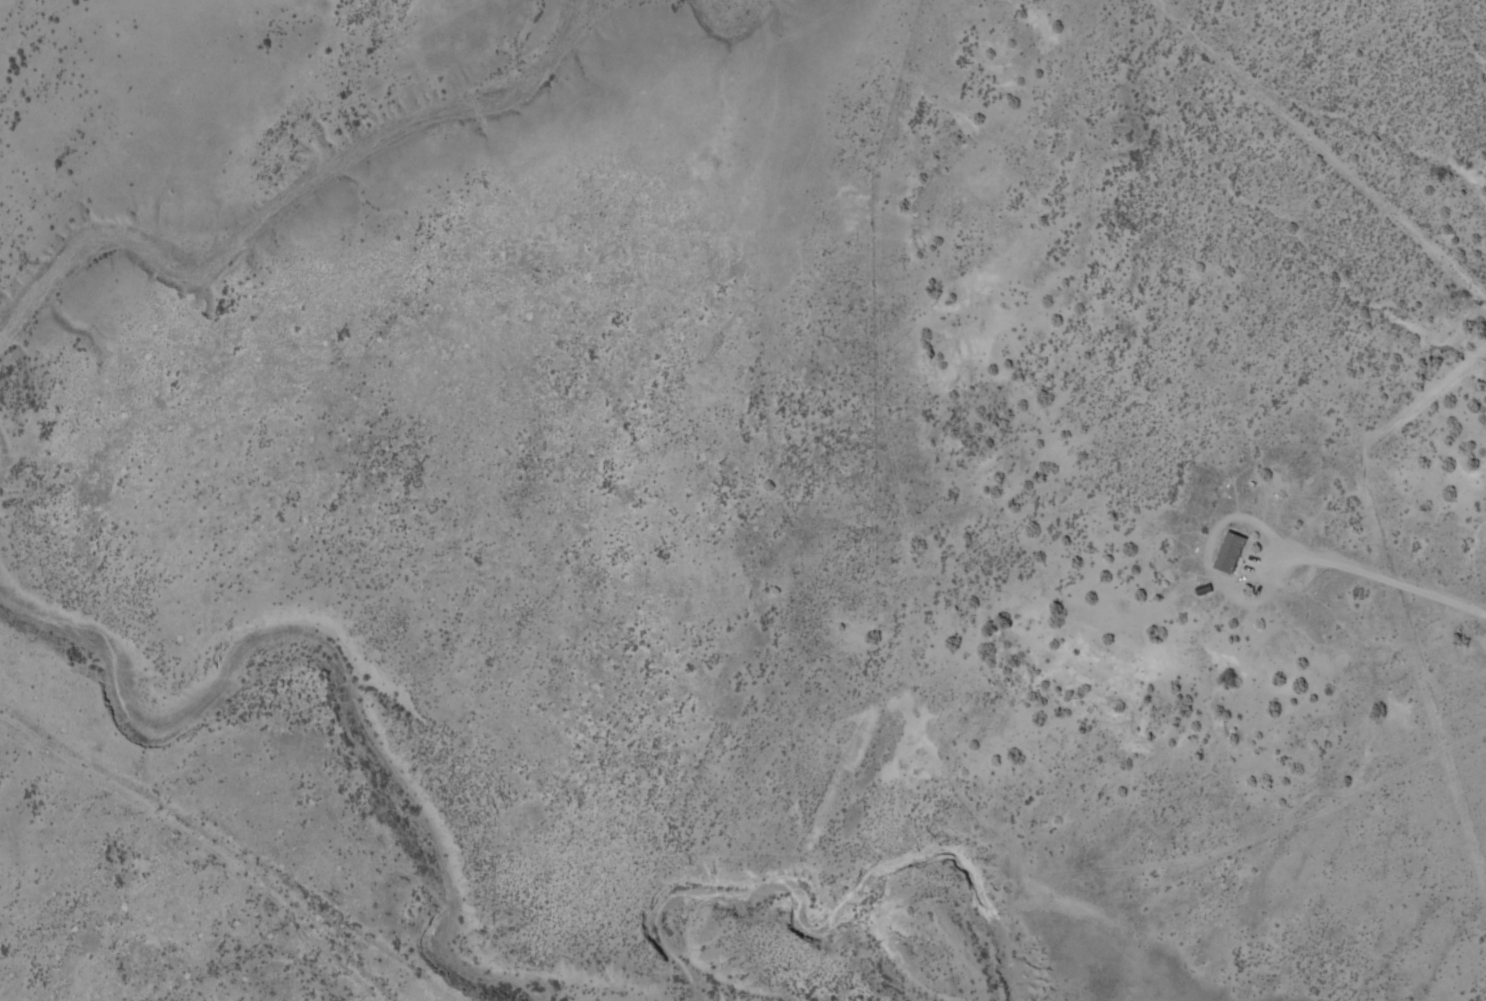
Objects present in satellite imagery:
building: (1230, 553)
road: (206, 844)

